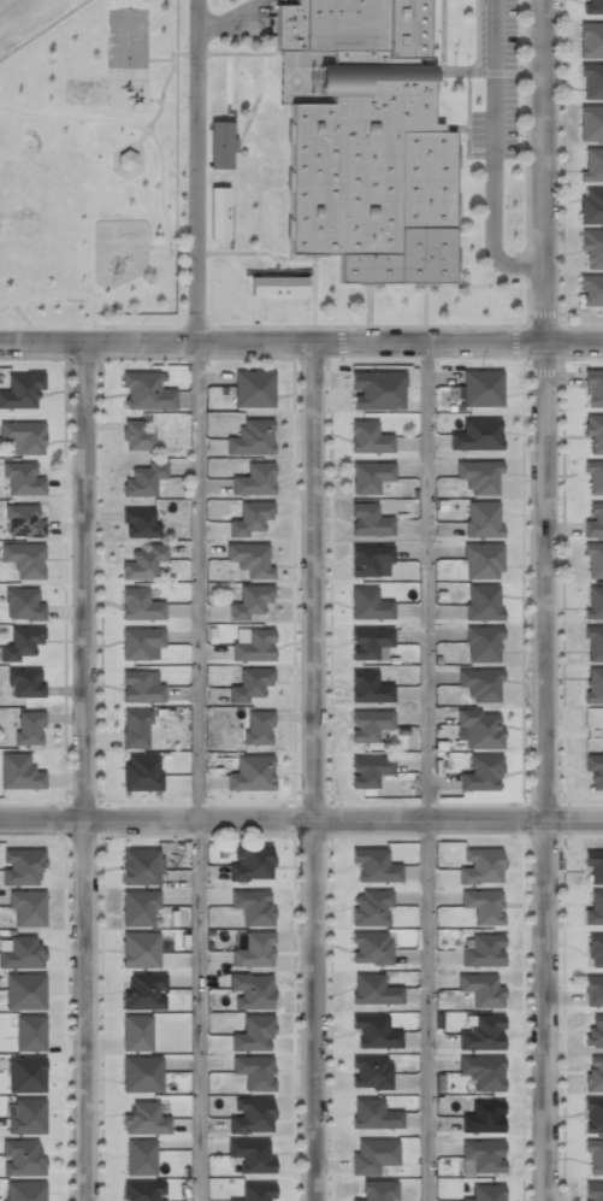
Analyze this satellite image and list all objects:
building: (593, 6)
airport: (28, 19)
park: (126, 37)
building: (590, 40)
building: (591, 81)
building: (590, 123)
building: (368, 143)
building: (220, 145)
road: (493, 152)
building: (126, 160)
building: (592, 164)
road: (195, 171)
building: (590, 205)
building: (219, 213)
building: (591, 247)
building: (278, 287)
building: (591, 290)
road: (301, 343)
building: (252, 388)
building: (481, 388)
building: (593, 388)
building: (20, 389)
building: (377, 390)
building: (144, 393)
road: (540, 411)
building: (593, 432)
building: (477, 434)
building: (24, 435)
building: (136, 436)
building: (250, 437)
building: (367, 437)
building: (479, 475)
building: (368, 476)
building: (593, 476)
building: (19, 478)
building: (253, 478)
building: (143, 479)
building: (249, 518)
building: (481, 518)
building: (593, 518)
building: (23, 520)
building: (367, 520)
building: (138, 523)
building: (249, 557)
building: (23, 559)
building: (481, 559)
building: (370, 560)
building: (593, 560)
building: (142, 563)
building: (249, 600)
building: (481, 601)
building: (593, 601)
building: (23, 604)
building: (140, 605)
building: (367, 605)
building: (20, 642)
building: (367, 642)
building: (481, 643)
building: (593, 643)
building: (141, 644)
building: (252, 644)
building: (24, 682)
building: (249, 683)
building: (479, 683)
building: (593, 684)
building: (141, 685)
building: (367, 687)
building: (370, 726)
building: (28, 728)
building: (256, 728)
building: (478, 728)
building: (136, 729)
building: (367, 770)
building: (593, 770)
road: (199, 771)
building: (18, 772)
road: (90, 772)
building: (140, 772)
road: (314, 772)
road: (427, 772)
building: (480, 772)
building: (249, 773)
road: (301, 824)
building: (250, 863)
building: (479, 865)
building: (22, 866)
building: (593, 866)
building: (138, 867)
building: (373, 867)
building: (252, 905)
building: (481, 905)
building: (371, 907)
building: (593, 907)
building: (26, 908)
building: (138, 909)
building: (370, 947)
building: (253, 948)
building: (140, 949)
building: (481, 949)
building: (595, 950)
building: (23, 952)
building: (480, 989)
building: (24, 990)
building: (143, 990)
building: (250, 990)
building: (372, 990)
building: (592, 990)
road: (542, 1012)
building: (593, 1031)
building: (136, 1032)
building: (253, 1032)
building: (373, 1032)
building: (480, 1032)
building: (29, 1034)
building: (253, 1070)
building: (480, 1070)
building: (593, 1072)
building: (370, 1073)
building: (25, 1075)
building: (141, 1075)
building: (249, 1113)
building: (372, 1114)
building: (592, 1114)
building: (26, 1115)
building: (483, 1115)
building: (143, 1119)
building: (250, 1153)
building: (481, 1154)
building: (371, 1155)
building: (593, 1156)
building: (22, 1158)
building: (140, 1158)
building: (24, 1191)
building: (144, 1191)
building: (255, 1191)
building: (377, 1191)
building: (592, 1191)
building: (484, 1193)

